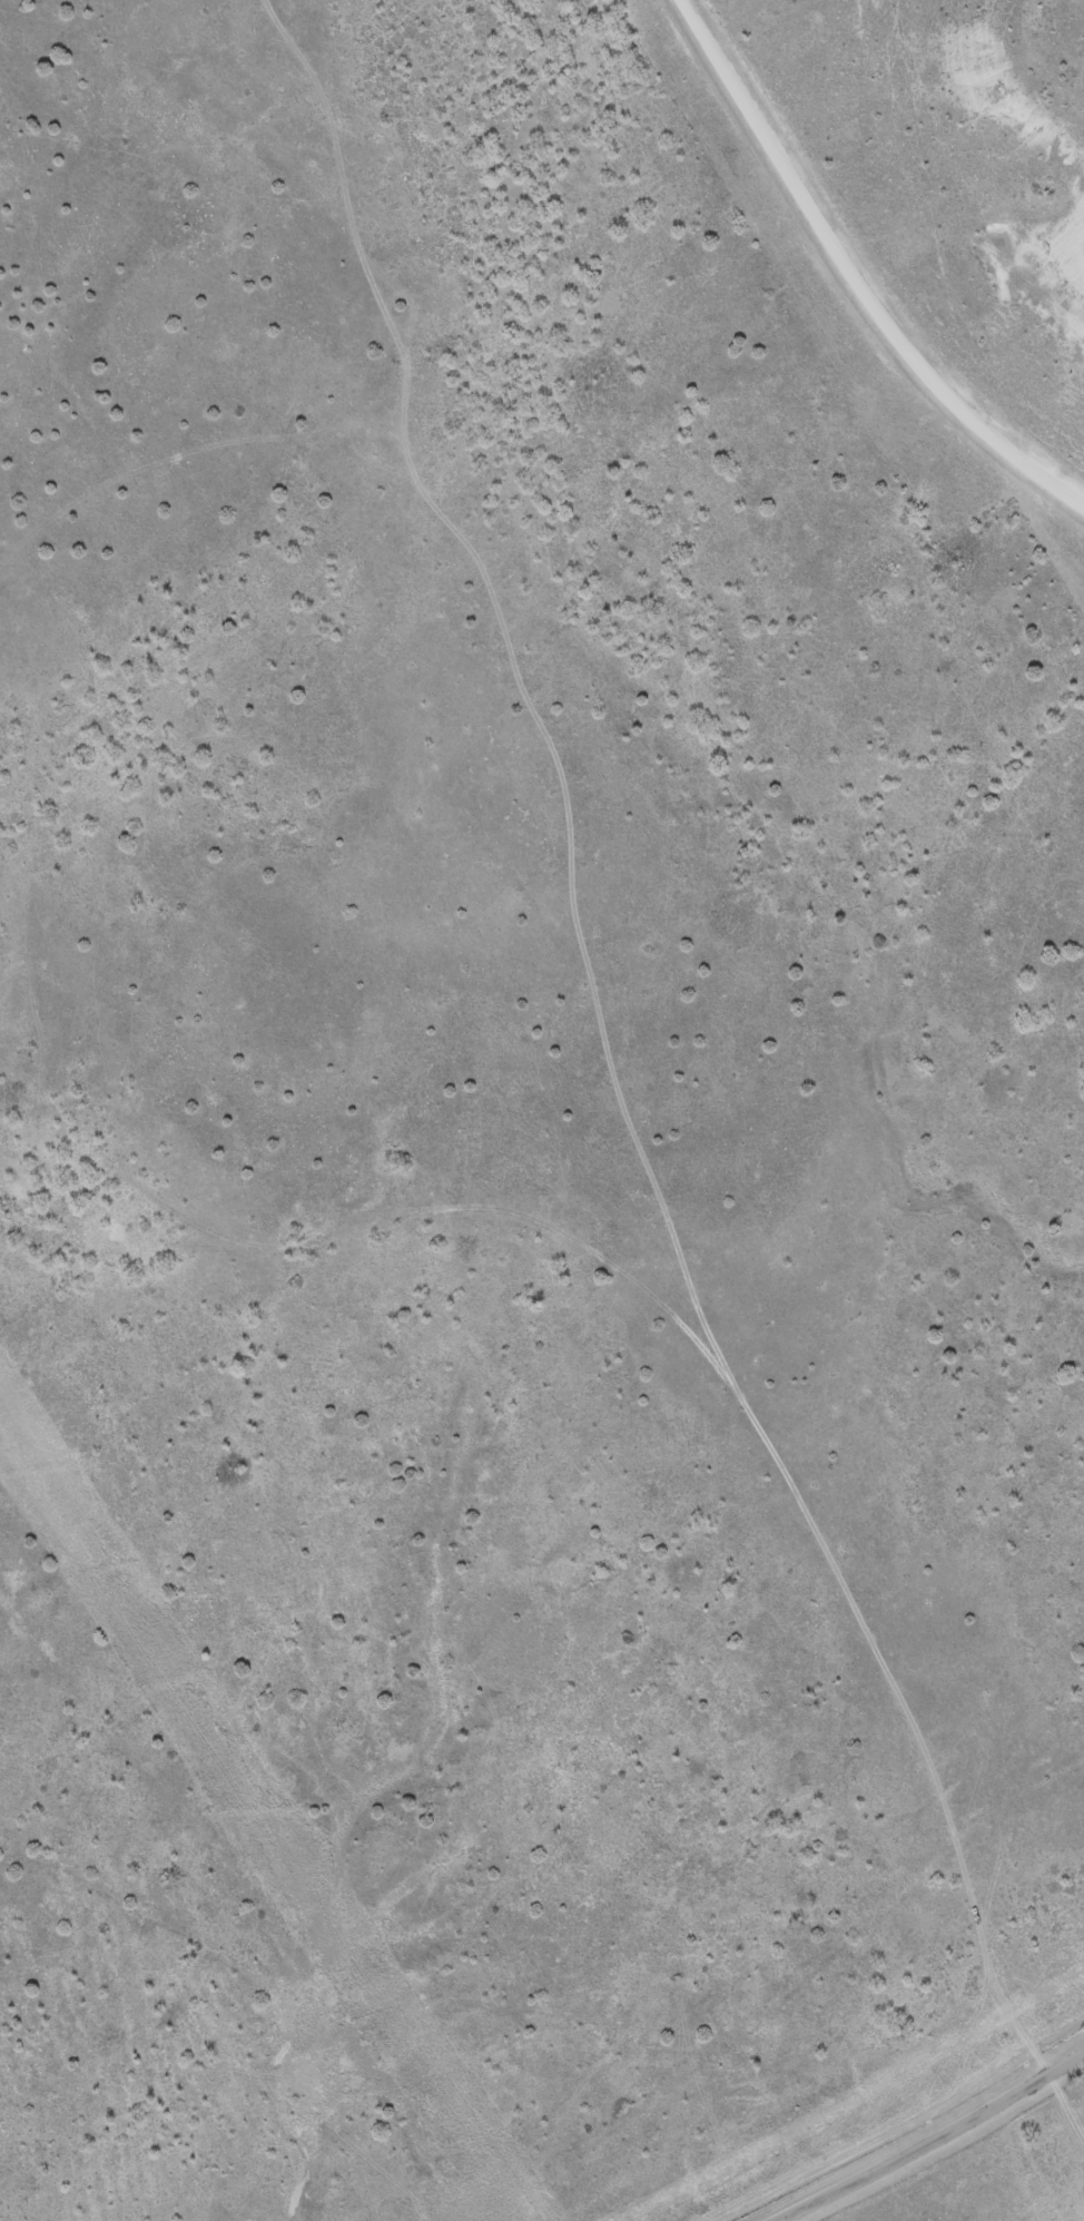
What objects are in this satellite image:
road: (851, 274)
road: (816, 1523)
road: (92, 1875)
road: (276, 2026)
road: (1066, 2058)
road: (907, 2149)

